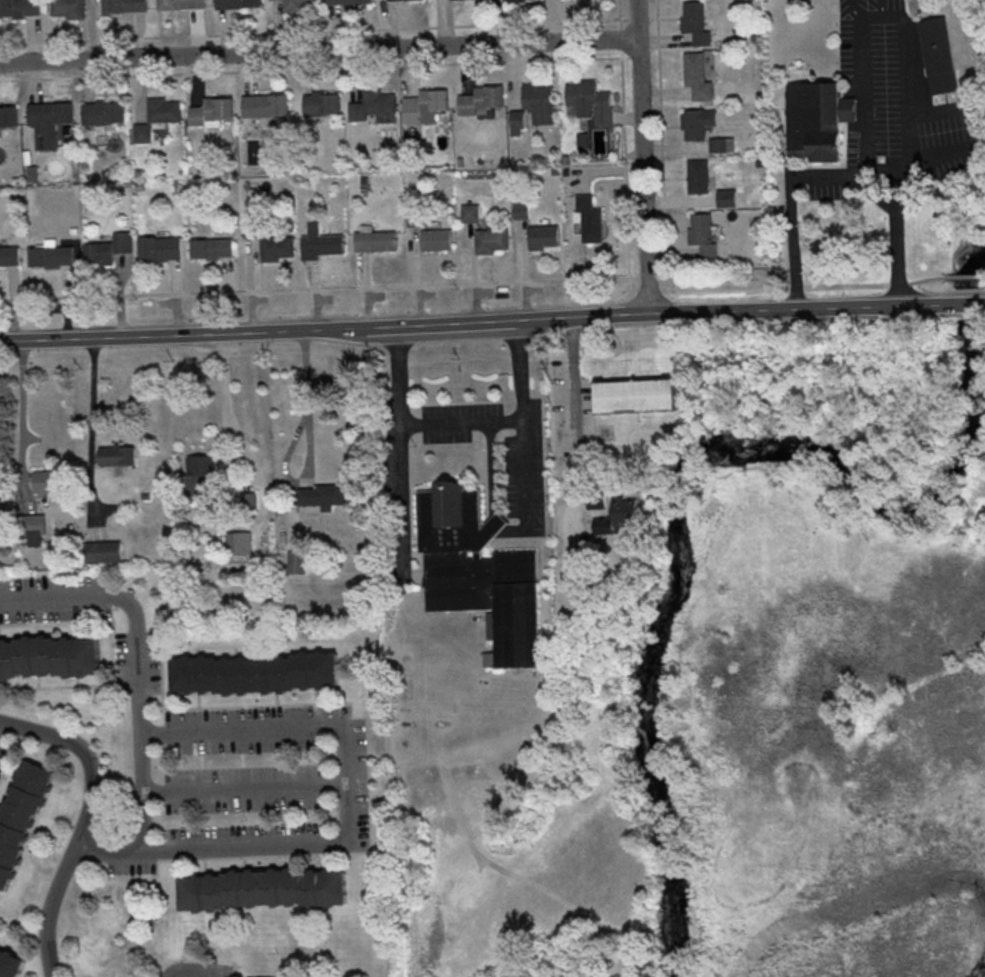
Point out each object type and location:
building: (388, 0)
building: (517, 0)
building: (348, 1)
building: (238, 3)
building: (182, 4)
building: (298, 4)
building: (125, 5)
building: (20, 7)
building: (69, 8)
road: (854, 8)
road: (881, 8)
road: (902, 18)
building: (696, 22)
road: (318, 50)
building: (937, 54)
building: (697, 76)
road: (970, 85)
building: (480, 98)
building: (539, 101)
building: (588, 101)
building: (321, 103)
building: (372, 103)
building: (265, 104)
building: (424, 105)
building: (104, 111)
building: (211, 111)
road: (936, 111)
building: (9, 115)
building: (157, 117)
building: (817, 119)
building: (49, 121)
building: (516, 121)
building: (697, 122)
building: (582, 140)
building: (722, 144)
road: (945, 152)
road: (642, 156)
road: (880, 168)
road: (832, 174)
building: (698, 175)
building: (727, 197)
building: (521, 209)
building: (469, 212)
building: (414, 217)
building: (588, 217)
building: (250, 226)
building: (703, 234)
building: (543, 236)
building: (436, 238)
building: (491, 239)
building: (375, 240)
building: (320, 242)
building: (159, 247)
building: (212, 247)
building: (276, 247)
building: (107, 248)
building: (50, 254)
building: (9, 255)
road: (982, 304)
road: (963, 305)
road: (473, 322)
building: (963, 326)
building: (635, 395)
road: (92, 406)
road: (20, 410)
road: (574, 417)
road: (463, 423)
road: (310, 452)
building: (116, 456)
building: (199, 476)
road: (526, 476)
road: (258, 478)
building: (48, 480)
building: (321, 495)
building: (249, 499)
road: (403, 501)
building: (0, 509)
building: (619, 515)
building: (35, 528)
building: (238, 542)
building: (103, 551)
building: (296, 561)
building: (478, 567)
road: (129, 603)
building: (49, 656)
building: (255, 672)
road: (346, 758)
road: (245, 790)
building: (20, 816)
road: (83, 823)
building: (276, 887)
building: (191, 892)
building: (11, 963)
road: (189, 968)

